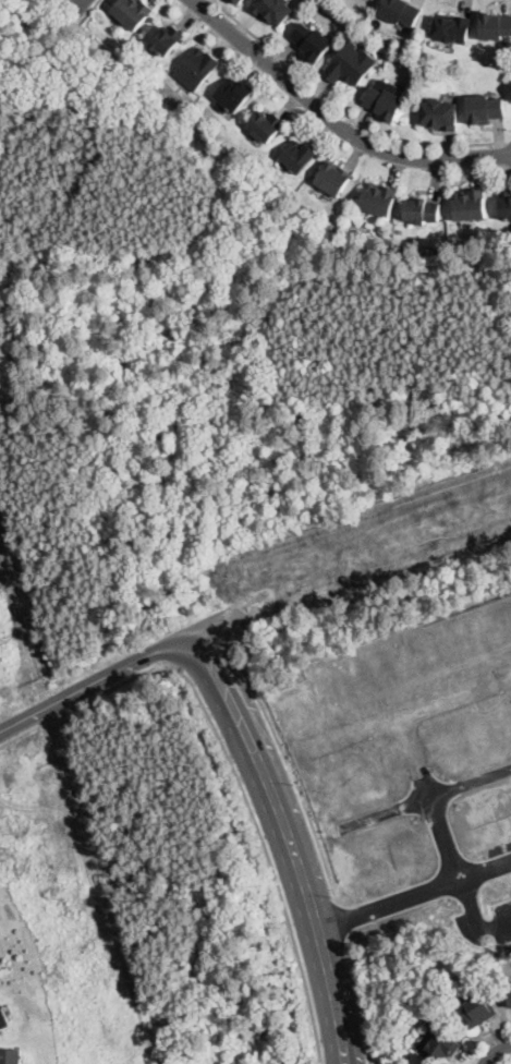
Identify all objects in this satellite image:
building: (374, 0)
building: (239, 1)
road: (78, 5)
building: (272, 10)
building: (402, 11)
building: (133, 12)
building: (494, 25)
building: (452, 28)
building: (165, 38)
building: (313, 41)
building: (351, 64)
building: (197, 69)
building: (233, 94)
building: (386, 102)
building: (486, 108)
road: (342, 111)
building: (440, 114)
road: (334, 119)
building: (267, 125)
building: (299, 155)
building: (334, 178)
building: (379, 198)
building: (506, 203)
building: (471, 205)
building: (423, 210)
road: (351, 559)
road: (203, 649)
road: (97, 678)
road: (412, 705)
road: (230, 766)
road: (437, 784)
road: (309, 823)
road: (289, 839)
power tower: (2, 847)
road: (411, 879)
building: (510, 996)
building: (478, 1011)
building: (3, 1018)
building: (440, 1048)
road: (497, 1051)
building: (10, 1055)

